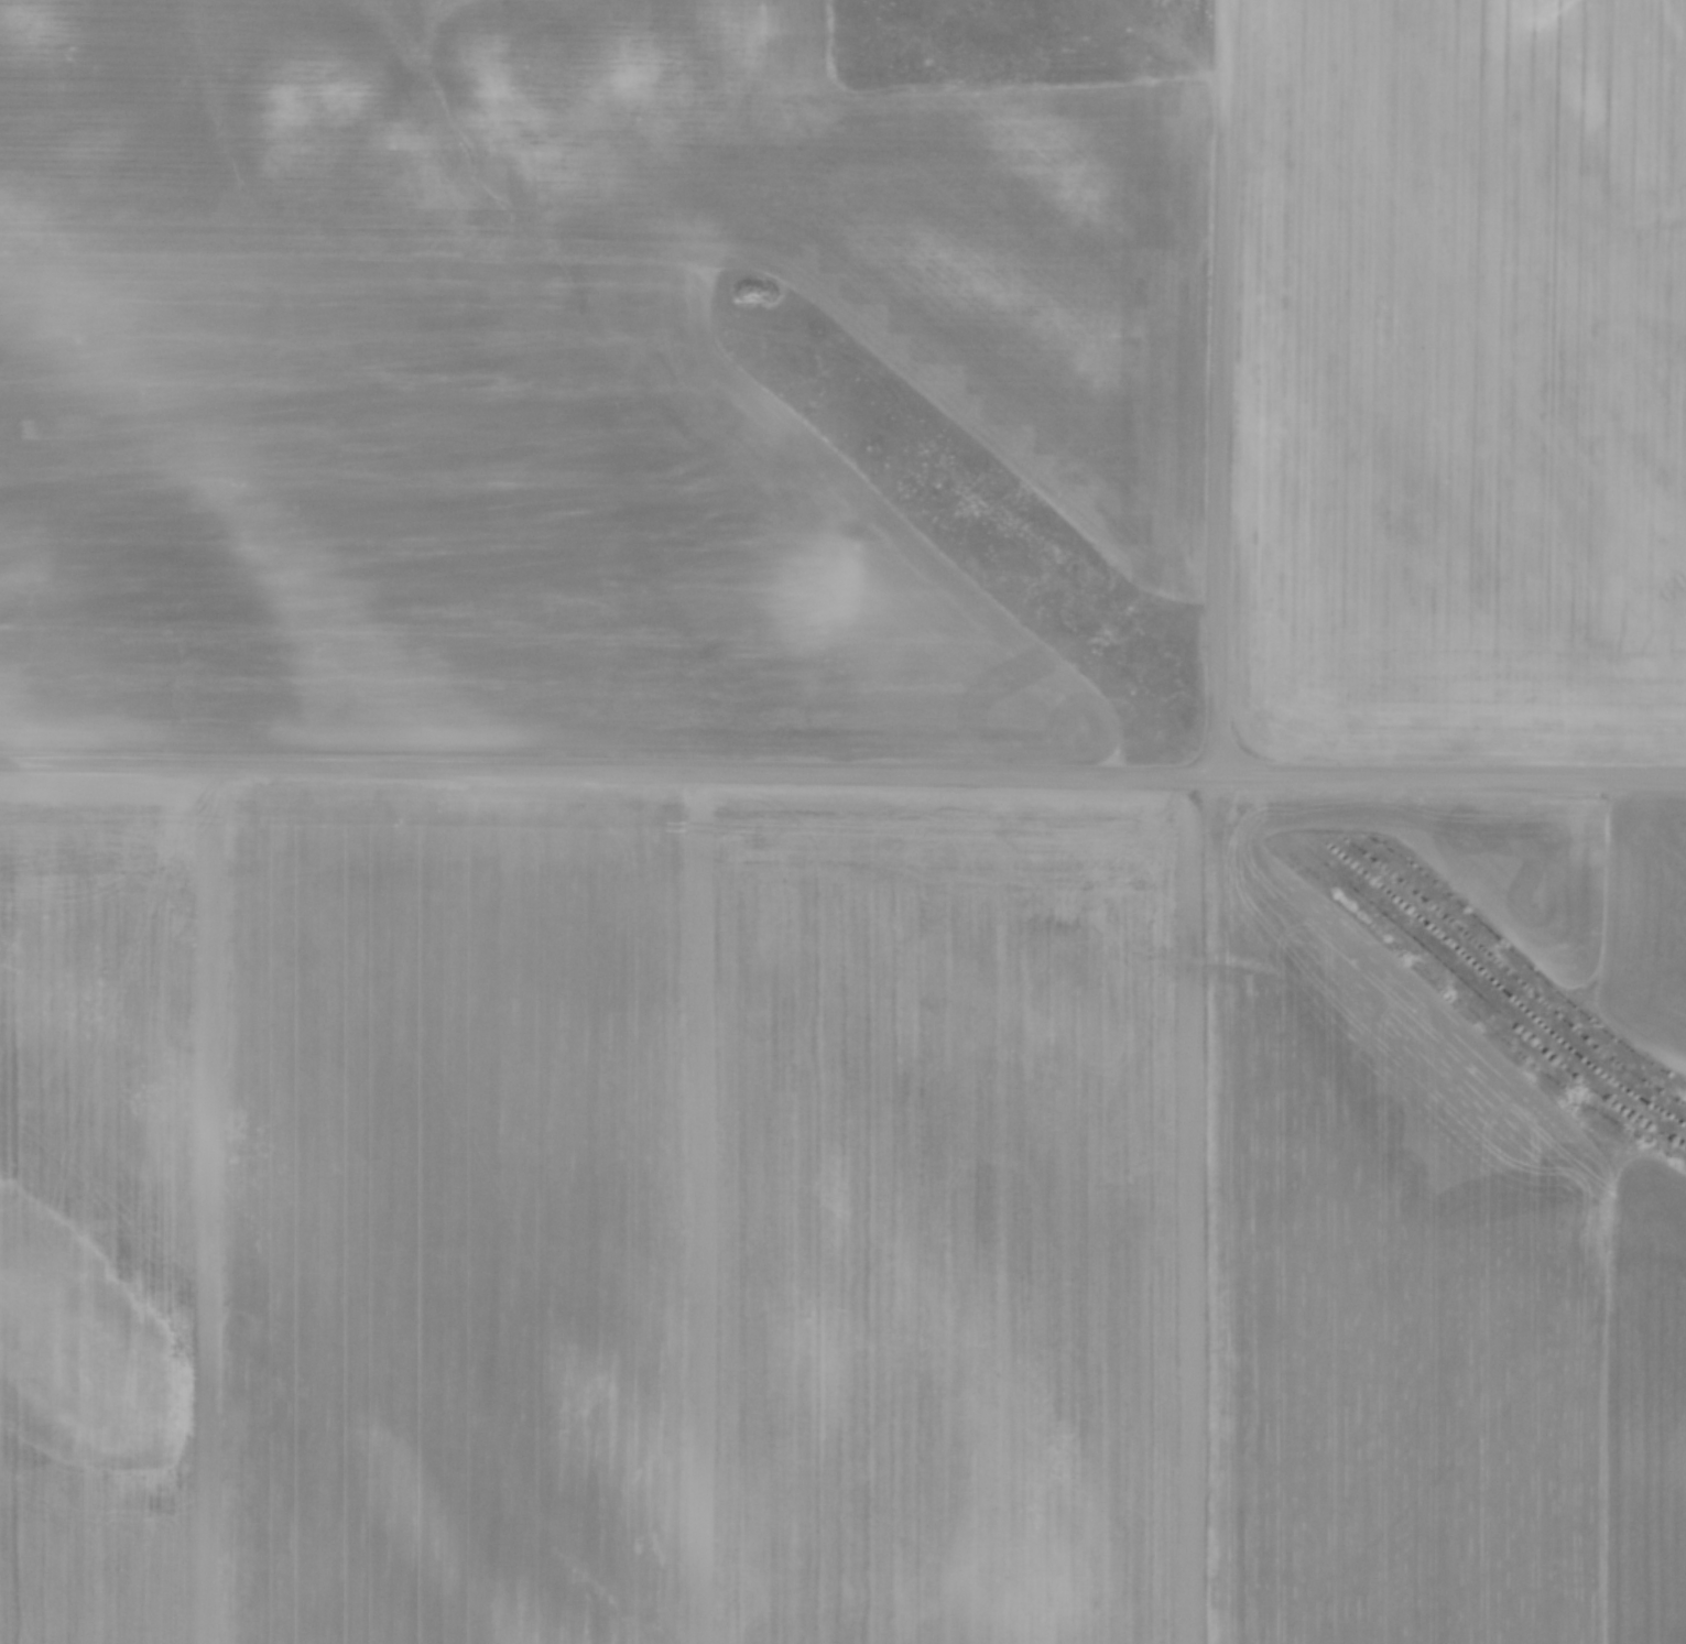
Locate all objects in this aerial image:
crop: (553, 377)
crop: (1462, 381)
road: (1226, 388)
road: (842, 771)

